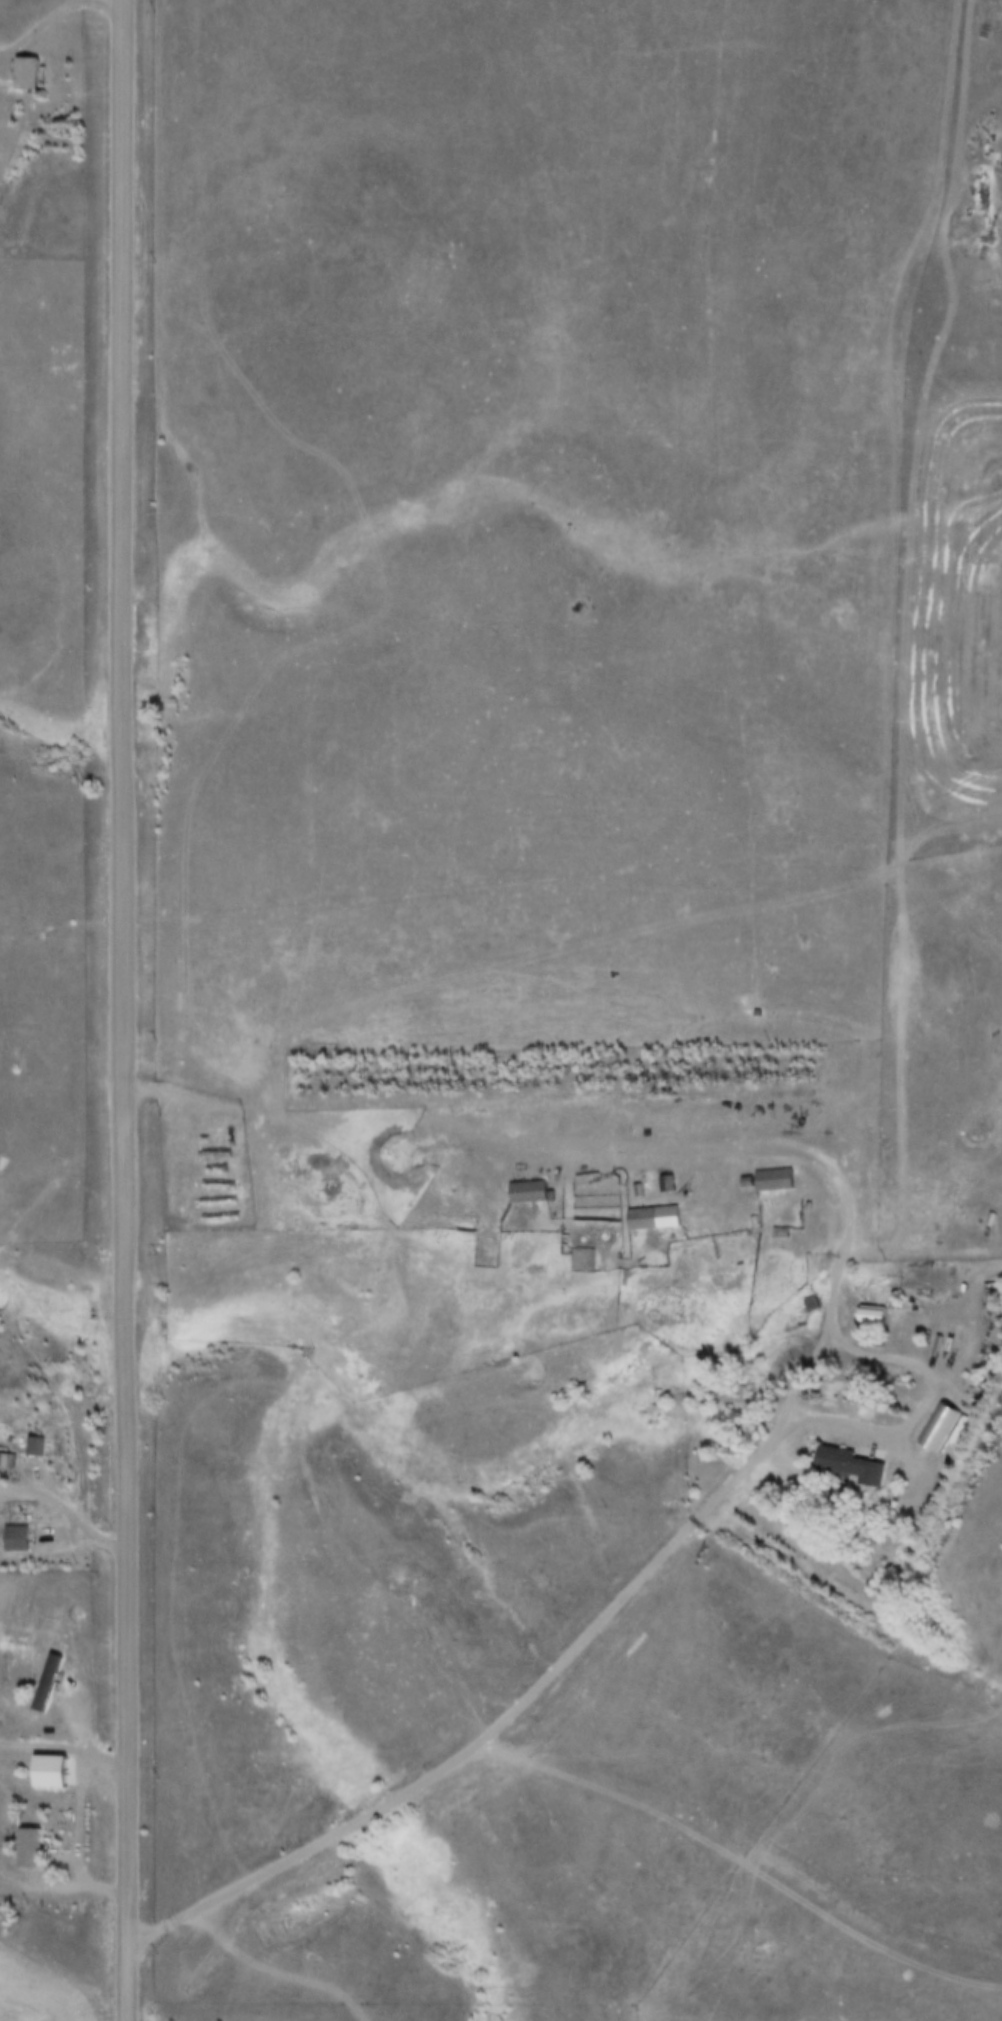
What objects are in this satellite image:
road: (53, 15)
building: (31, 71)
road: (951, 765)
road: (121, 1010)
building: (778, 1180)
building: (670, 1183)
building: (531, 1191)
building: (656, 1217)
building: (880, 1318)
building: (39, 1445)
building: (6, 1459)
building: (853, 1465)
road: (70, 1516)
building: (21, 1538)
road: (678, 1541)
building: (49, 1686)
building: (56, 1767)
road: (78, 1825)
building: (32, 1845)

